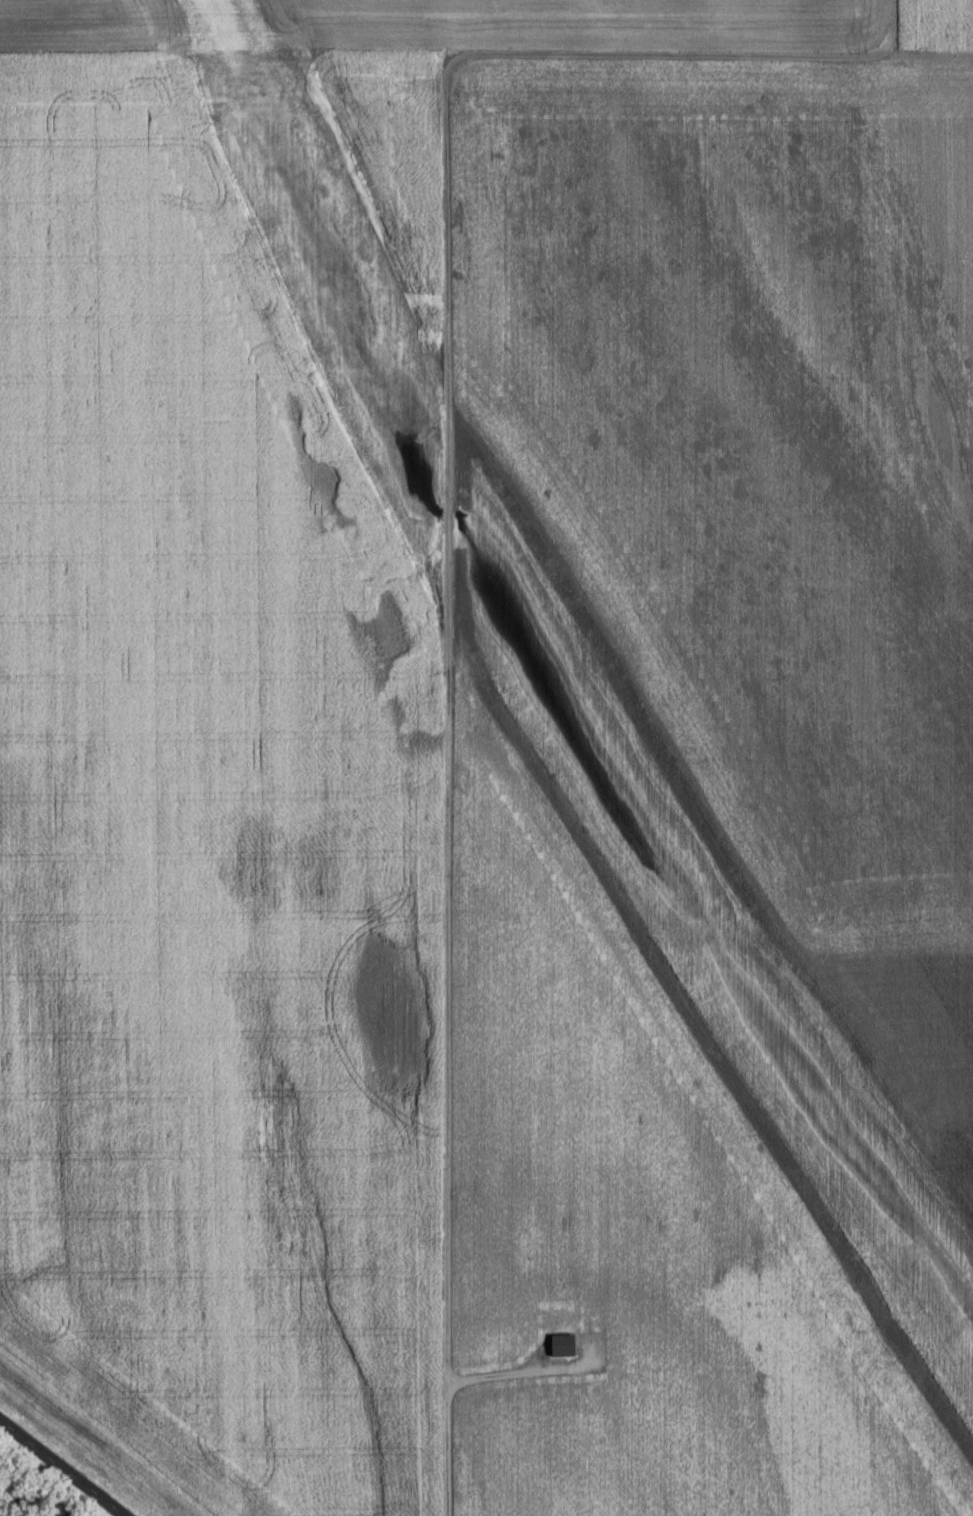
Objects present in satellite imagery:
crop: (941, 26)
crop: (421, 28)
crop: (715, 499)
crop: (225, 771)
crop: (717, 1223)
building: (566, 1347)
road: (58, 1470)
river: (0, 1515)

